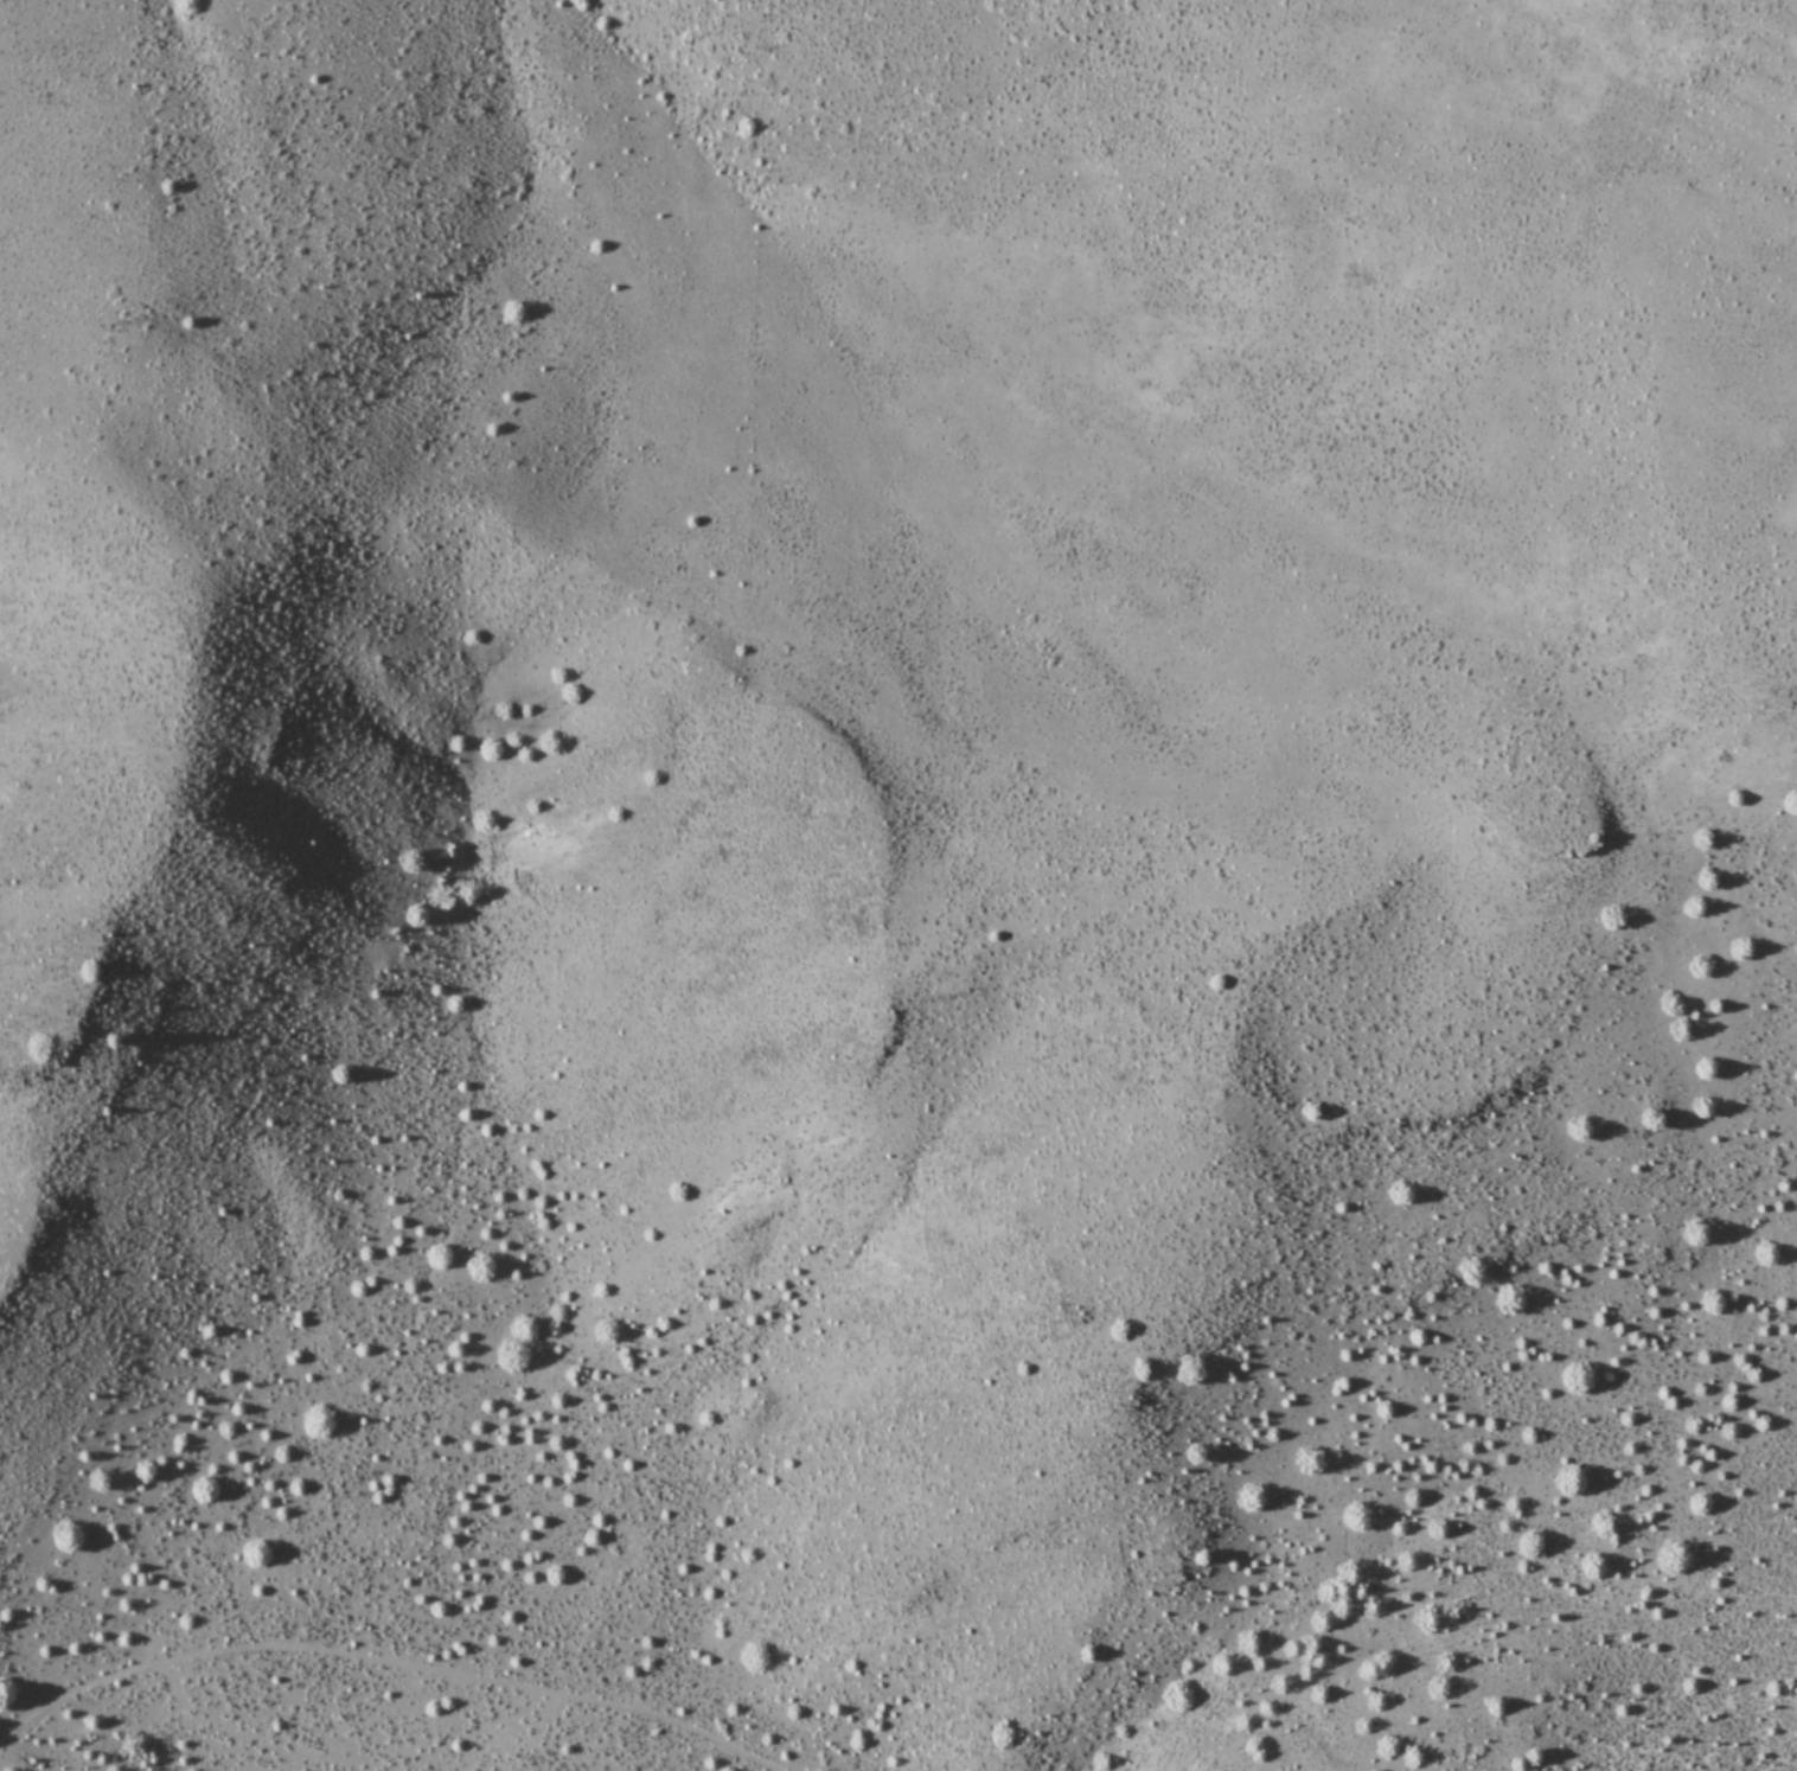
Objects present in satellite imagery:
road: (415, 1611)

